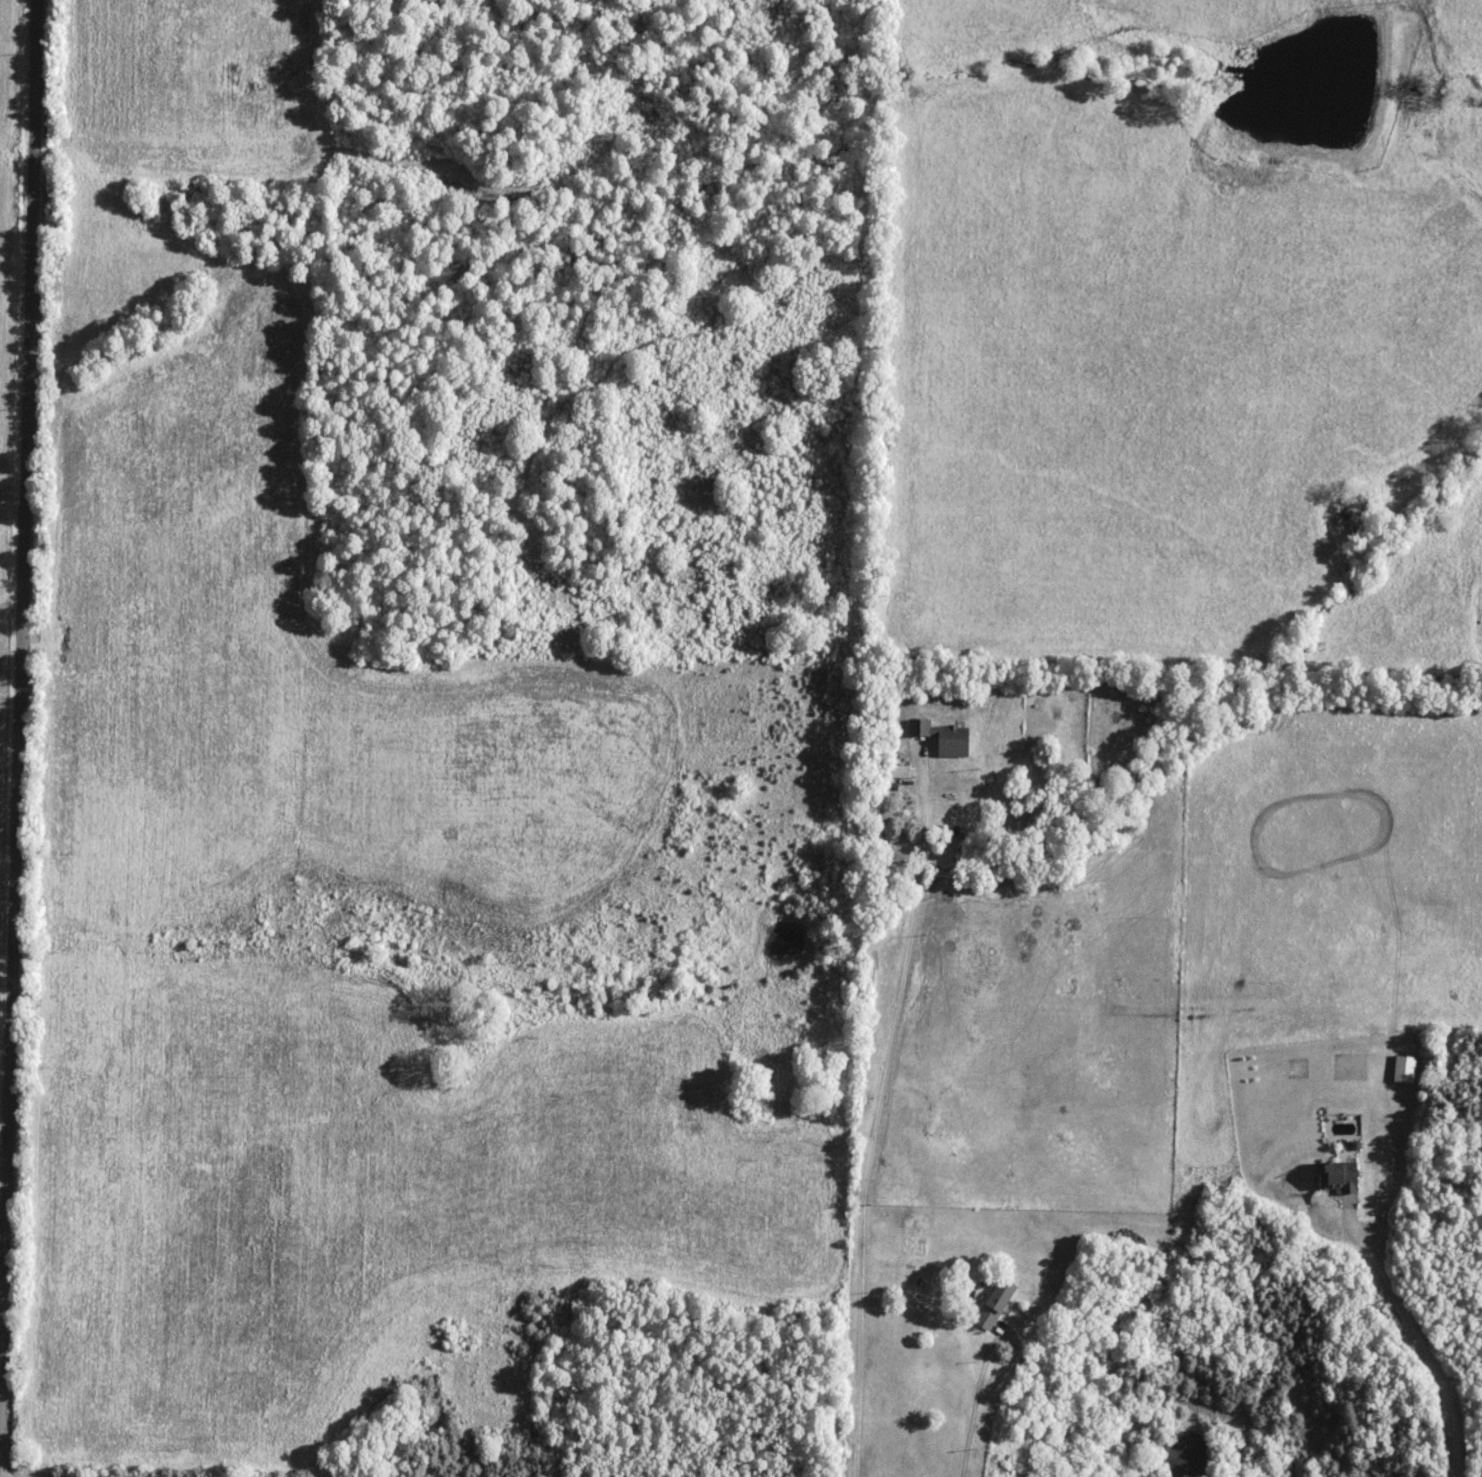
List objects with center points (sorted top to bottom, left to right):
road: (18, 738)
building: (940, 738)
building: (1402, 1070)
road: (873, 1119)
building: (1336, 1177)
building: (991, 1304)
road: (1415, 1335)
road: (989, 1369)
road: (976, 1435)

